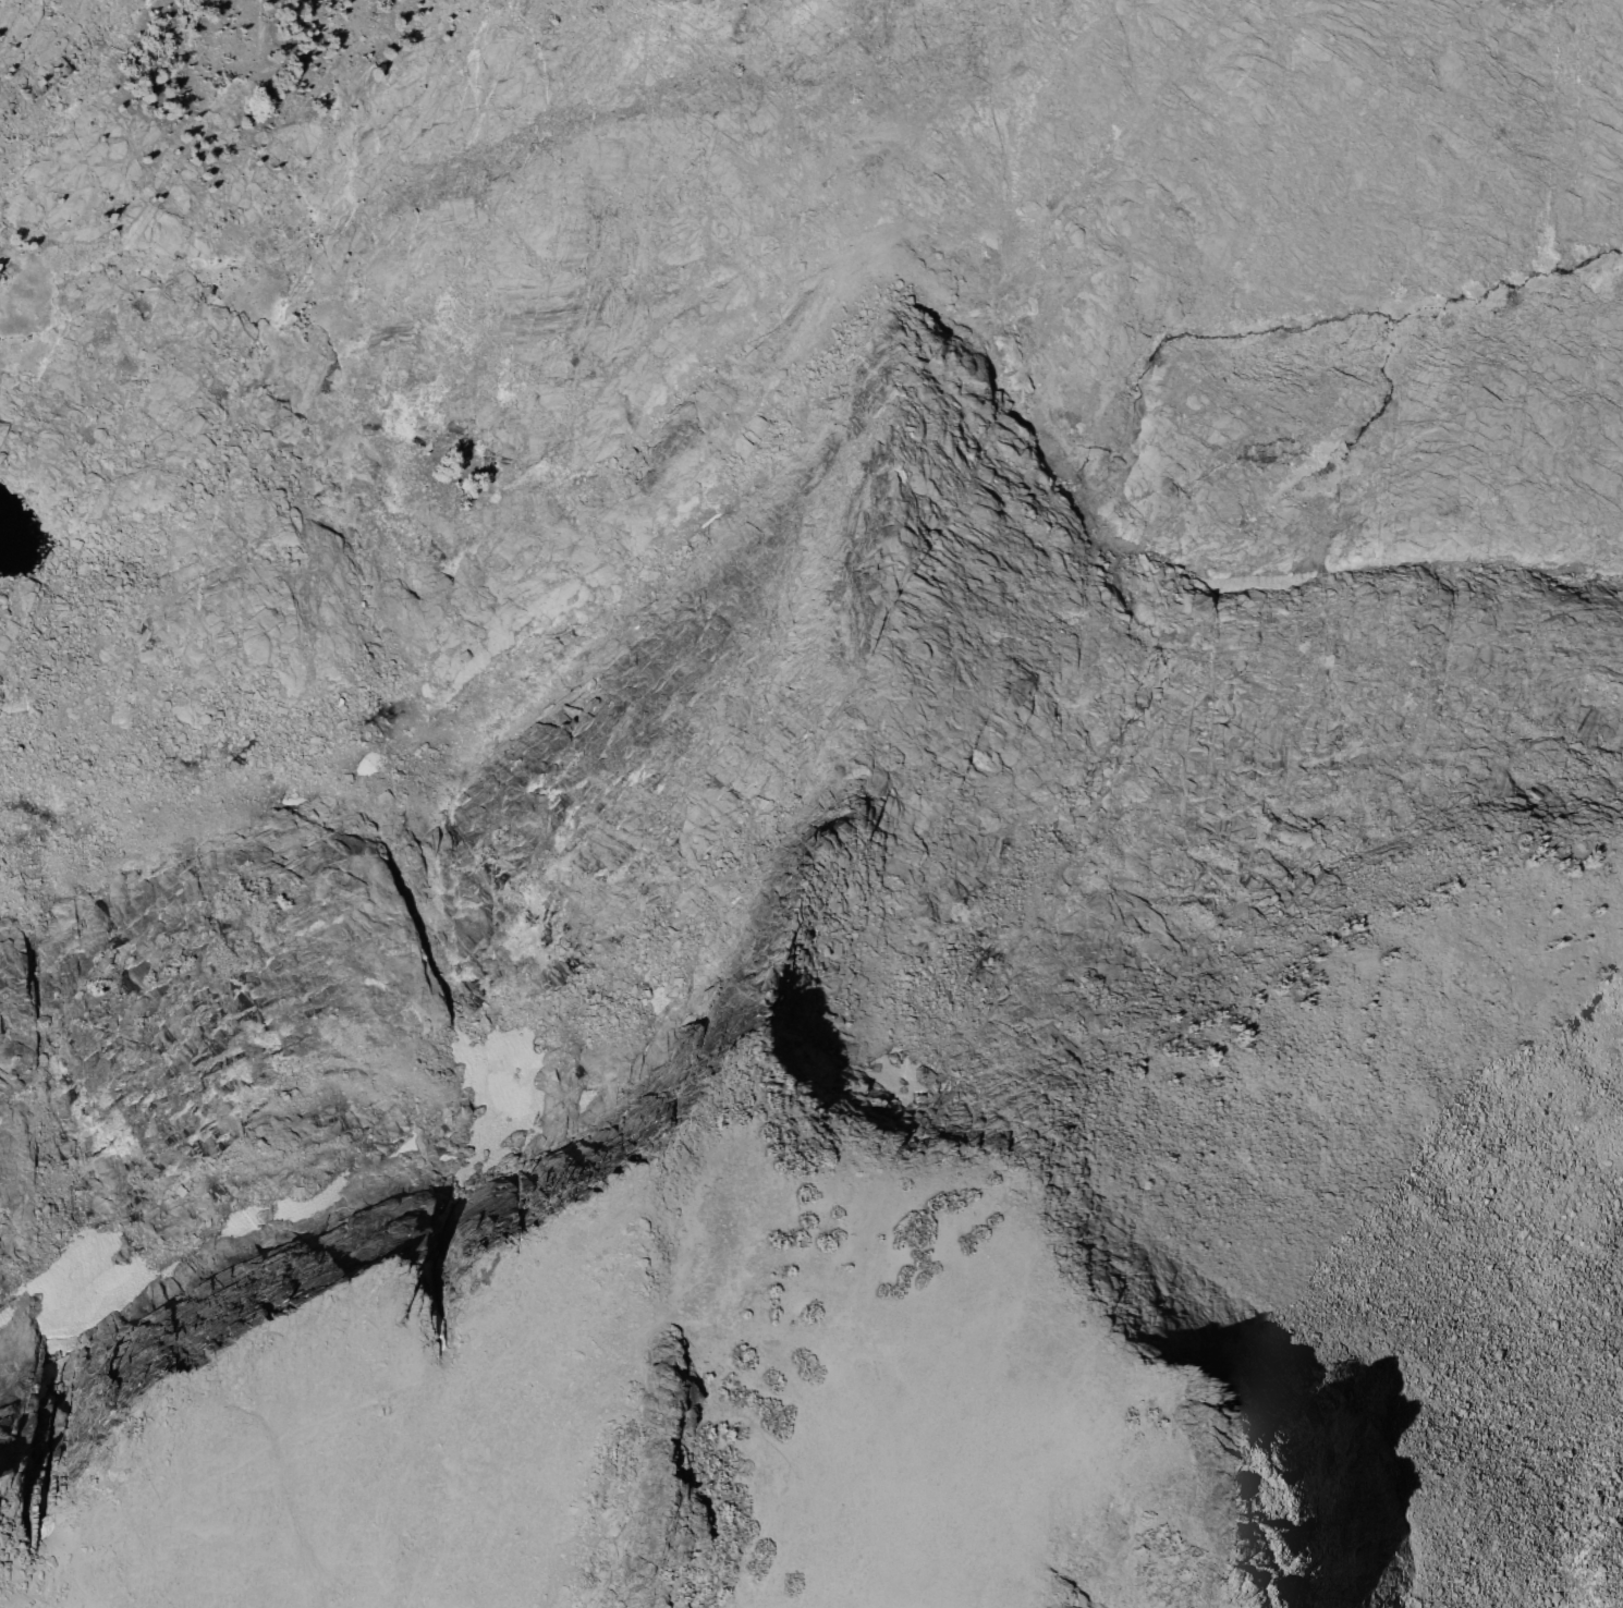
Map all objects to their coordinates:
road: (51, 1598)

